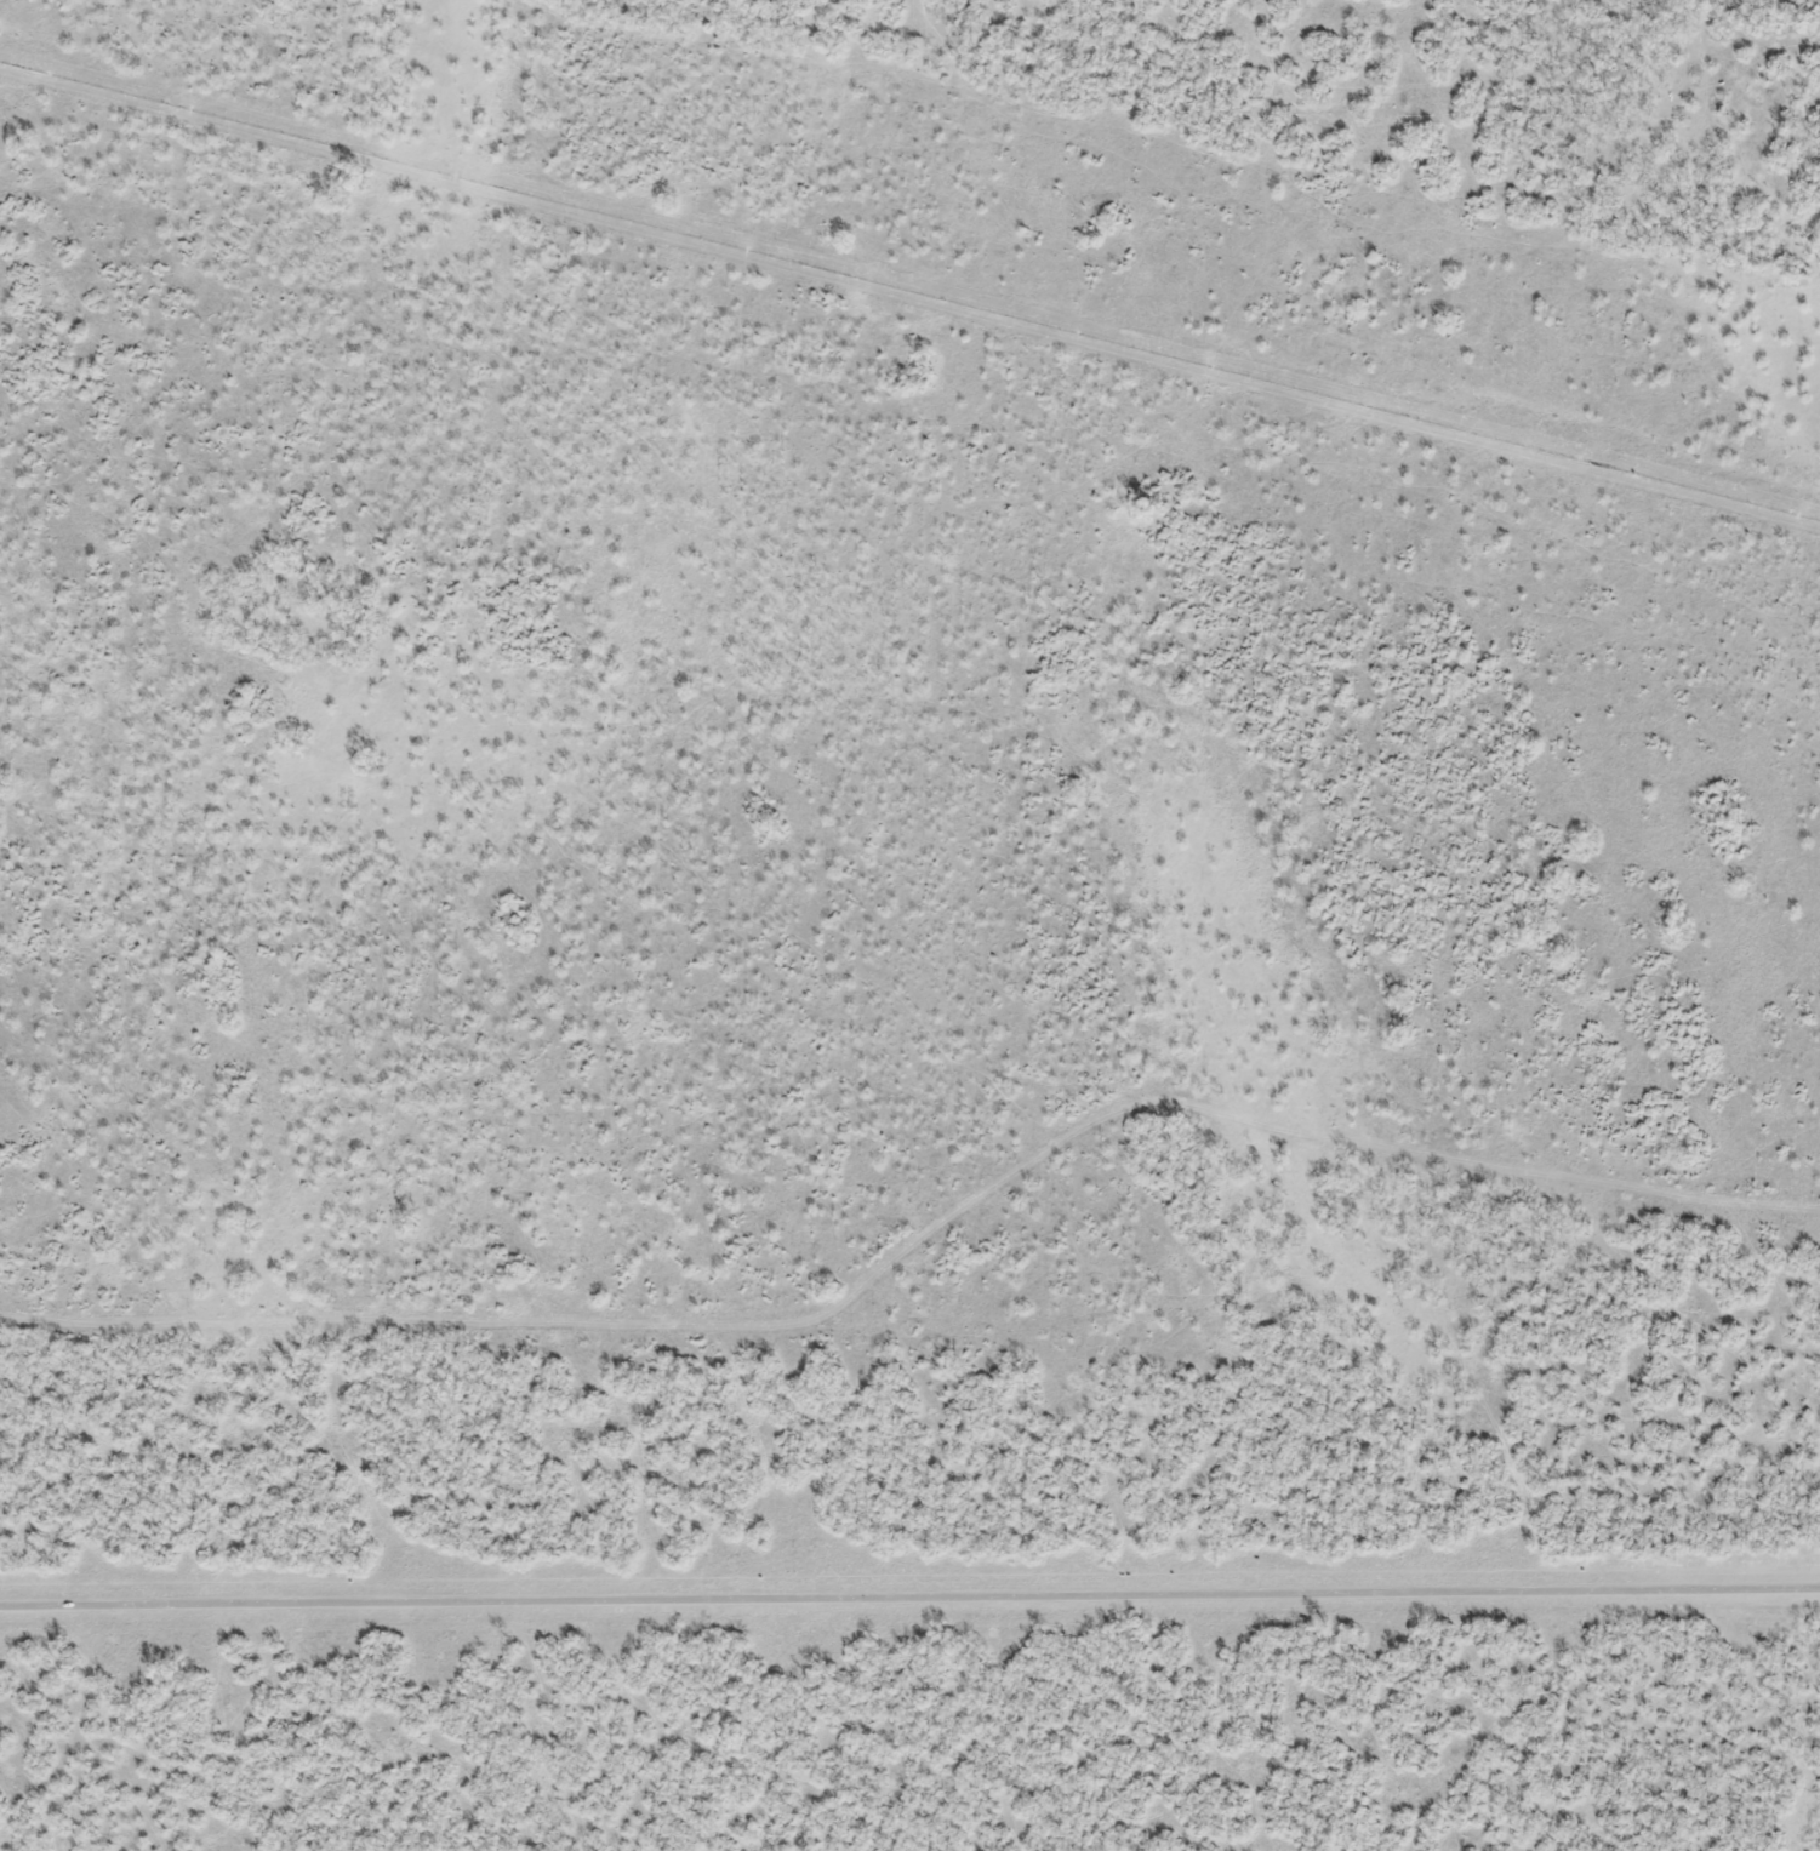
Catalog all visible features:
road: (909, 1556)

